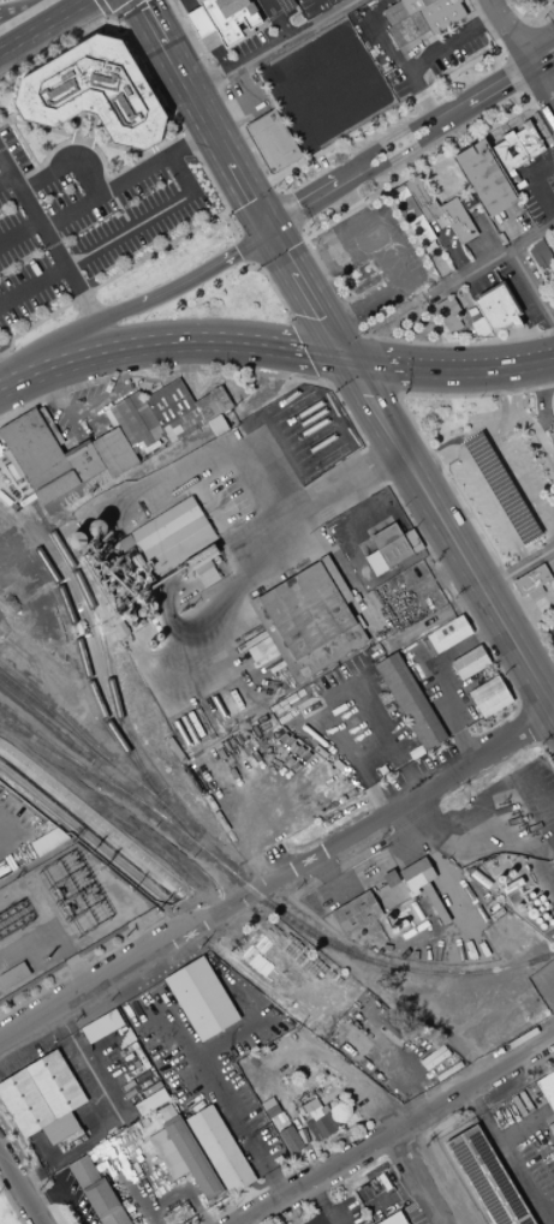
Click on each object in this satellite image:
road: (2, 0)
road: (186, 1)
road: (36, 4)
parking lot: (191, 4)
building: (411, 5)
road: (282, 6)
road: (322, 7)
road: (552, 7)
road: (106, 8)
road: (119, 8)
road: (237, 12)
building: (393, 13)
road: (552, 13)
road: (109, 18)
road: (249, 20)
road: (296, 22)
building: (424, 22)
road: (530, 22)
road: (528, 25)
road: (46, 26)
building: (239, 26)
road: (215, 28)
road: (258, 31)
road: (512, 36)
road: (512, 37)
road: (14, 40)
road: (448, 41)
road: (389, 44)
road: (269, 47)
road: (538, 50)
road: (540, 52)
road: (147, 68)
road: (543, 71)
road: (511, 79)
building: (96, 94)
road: (501, 96)
road: (541, 98)
road: (543, 98)
road: (226, 112)
road: (199, 115)
road: (431, 117)
building: (270, 141)
building: (513, 147)
road: (409, 151)
road: (320, 154)
road: (552, 154)
road: (66, 163)
road: (5, 177)
building: (482, 178)
road: (125, 180)
road: (272, 180)
road: (540, 190)
road: (249, 196)
building: (421, 197)
building: (466, 201)
road: (304, 203)
road: (287, 211)
building: (410, 215)
building: (455, 220)
parking lot: (87, 225)
traffic signals: (268, 229)
road: (19, 232)
road: (482, 235)
road: (115, 237)
road: (48, 239)
road: (250, 249)
road: (280, 249)
building: (332, 250)
building: (540, 255)
road: (492, 258)
road: (316, 259)
road: (440, 268)
road: (204, 271)
road: (397, 273)
building: (362, 277)
road: (108, 279)
building: (553, 285)
road: (531, 286)
road: (274, 292)
road: (305, 294)
building: (498, 308)
building: (471, 311)
building: (447, 314)
building: (479, 327)
road: (326, 328)
road: (82, 333)
road: (142, 345)
road: (299, 351)
road: (308, 352)
traffic signals: (344, 359)
road: (377, 365)
road: (270, 366)
road: (187, 369)
road: (448, 370)
road: (16, 378)
road: (0, 384)
road: (327, 384)
road: (361, 388)
road: (494, 388)
road: (514, 390)
road: (397, 395)
building: (219, 398)
road: (342, 406)
building: (205, 407)
road: (88, 408)
building: (173, 410)
building: (145, 414)
road: (508, 422)
building: (130, 424)
building: (218, 425)
building: (553, 429)
road: (439, 436)
road: (538, 437)
road: (281, 443)
road: (436, 454)
building: (62, 460)
road: (434, 460)
road: (453, 462)
parking lot: (518, 468)
road: (517, 473)
road: (336, 486)
road: (548, 513)
road: (447, 536)
building: (169, 537)
building: (394, 544)
road: (287, 557)
road: (517, 569)
building: (553, 578)
building: (530, 580)
road: (433, 581)
building: (534, 593)
building: (309, 619)
building: (447, 634)
railway: (99, 637)
building: (467, 663)
road: (440, 676)
building: (488, 697)
road: (538, 699)
building: (409, 701)
railway: (50, 705)
railway: (99, 705)
road: (519, 709)
road: (531, 724)
road: (286, 729)
road: (380, 730)
road: (547, 735)
railway: (29, 736)
road: (540, 742)
road: (540, 746)
railway: (91, 750)
railway: (70, 760)
road: (413, 822)
road: (441, 829)
road: (16, 831)
building: (47, 842)
road: (260, 870)
road: (324, 874)
building: (415, 874)
road: (278, 876)
railway: (251, 890)
building: (389, 892)
building: (355, 913)
power substation: (59, 914)
building: (400, 919)
road: (451, 926)
road: (141, 933)
road: (82, 967)
road: (77, 971)
building: (201, 999)
building: (101, 1026)
road: (191, 1058)
road: (541, 1059)
building: (546, 1088)
road: (411, 1095)
building: (43, 1098)
building: (149, 1101)
building: (273, 1112)
road: (114, 1113)
building: (316, 1119)
road: (522, 1124)
road: (239, 1127)
building: (550, 1129)
road: (397, 1132)
road: (302, 1139)
building: (290, 1141)
building: (220, 1150)
road: (507, 1157)
building: (192, 1158)
road: (416, 1178)
building: (487, 1178)
road: (180, 1182)
road: (19, 1190)
road: (61, 1190)
road: (133, 1190)
road: (394, 1192)
building: (97, 1193)
road: (546, 1200)
road: (318, 1204)
road: (11, 1205)
park: (6, 1213)
building: (392, 1219)
road: (242, 1223)

